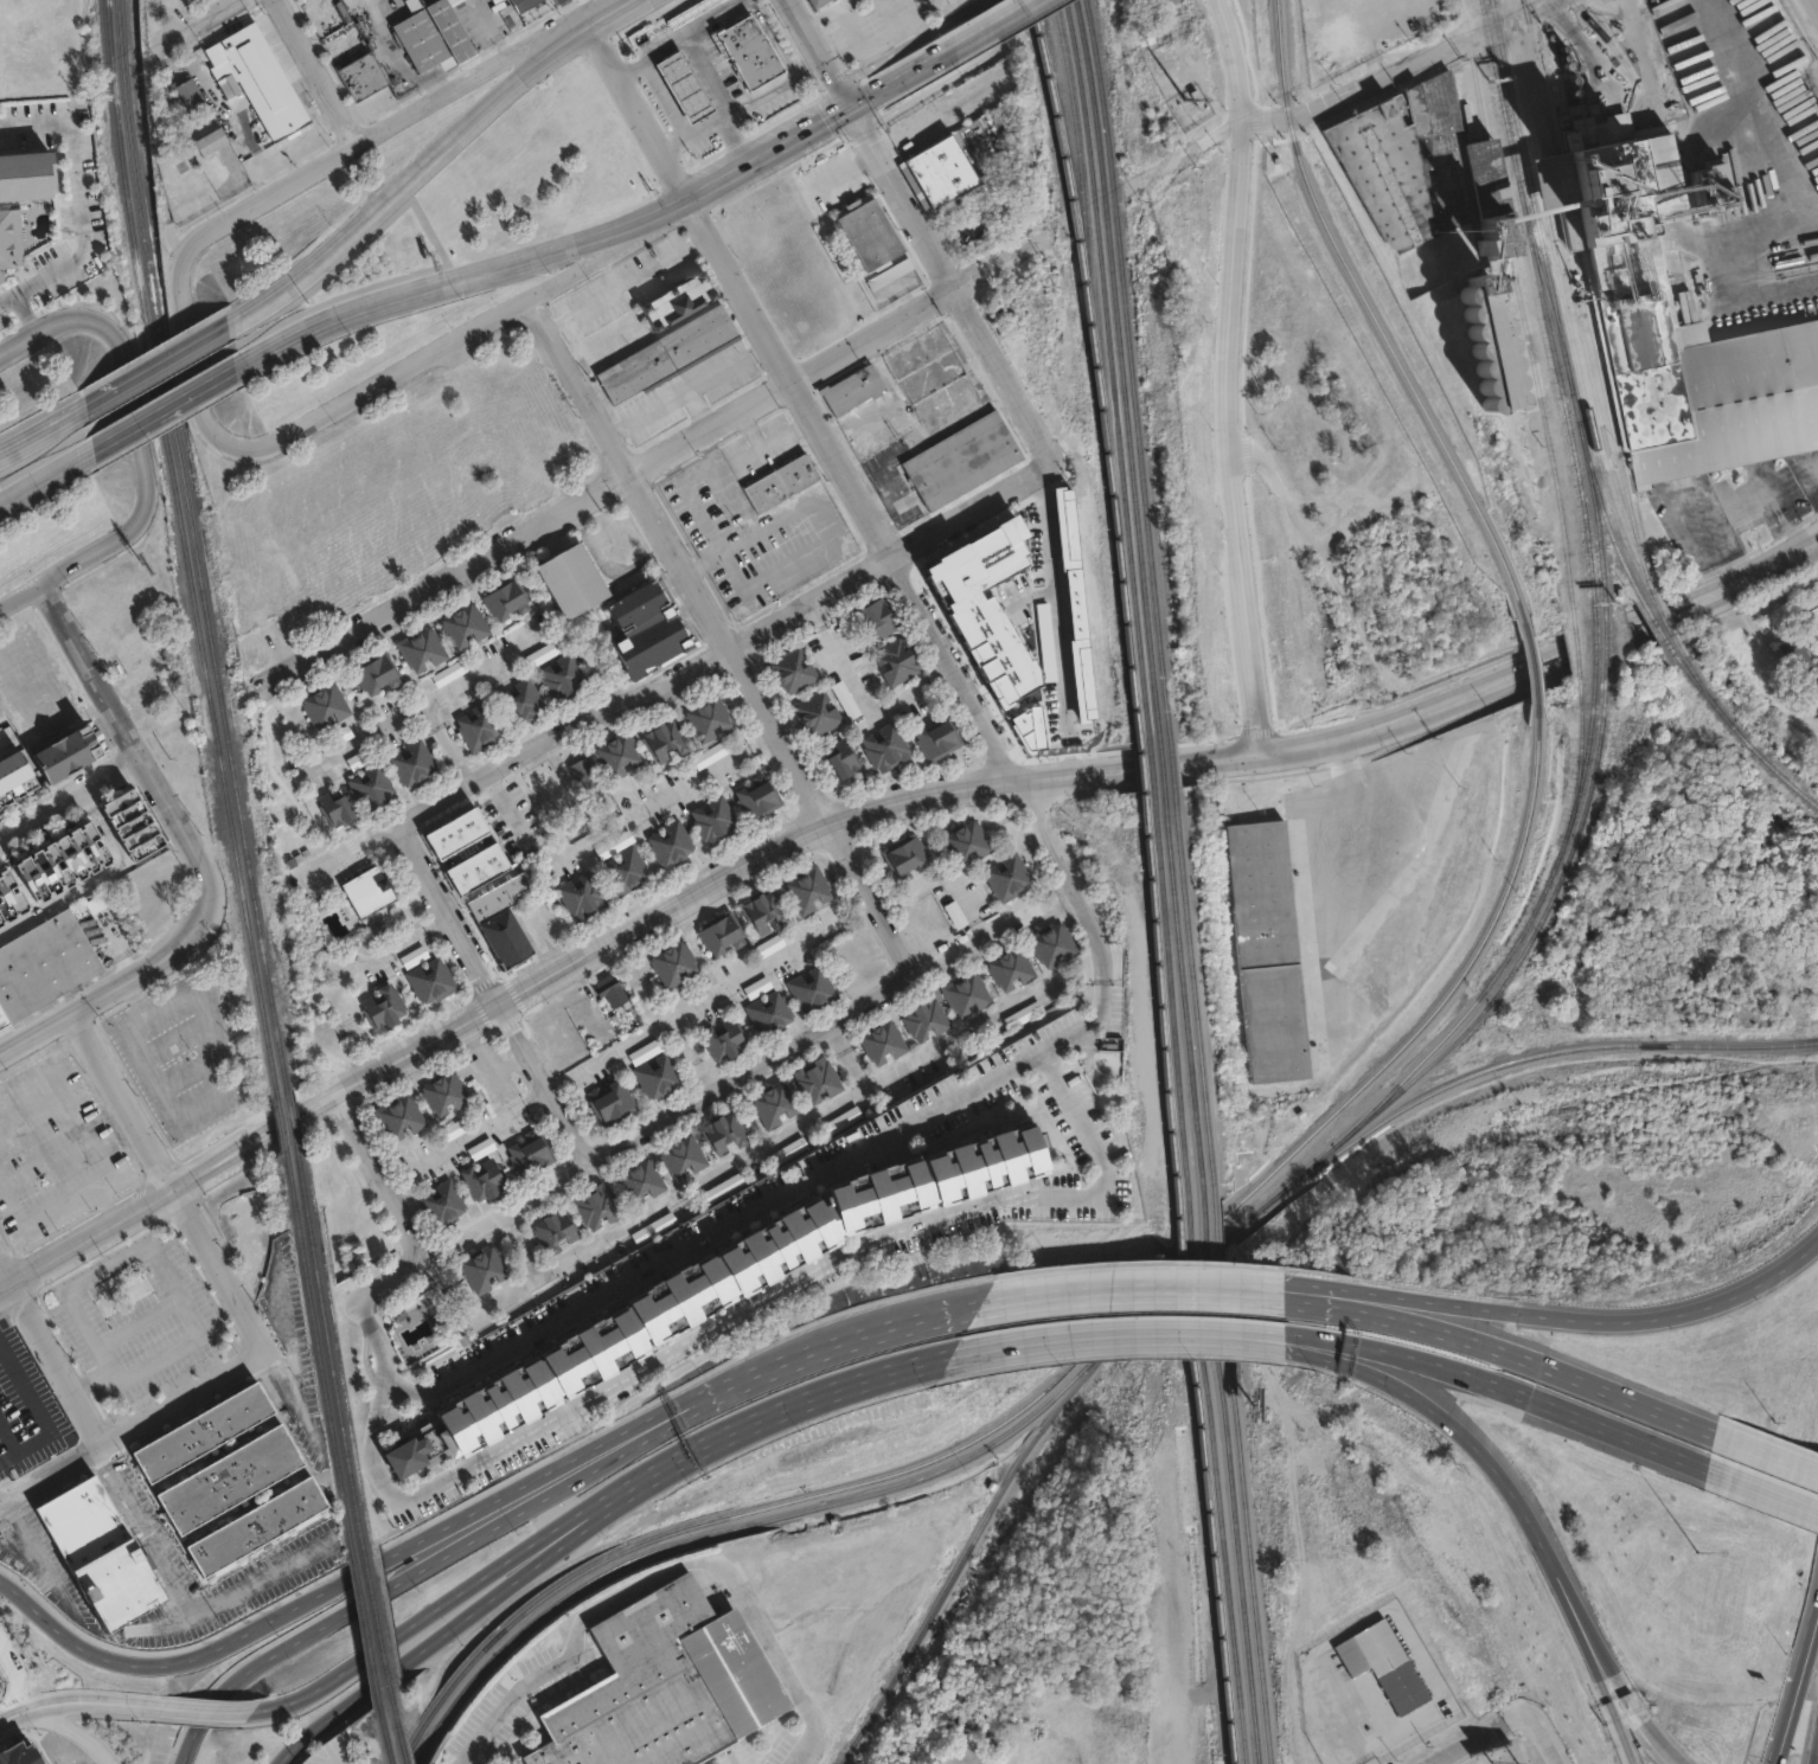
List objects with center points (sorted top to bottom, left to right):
building: (818, 2)
building: (531, 5)
road: (1813, 6)
road: (613, 12)
building: (691, 12)
road: (207, 21)
building: (439, 34)
road: (678, 34)
railway: (1602, 40)
road: (973, 44)
power tower: (1811, 45)
building: (747, 49)
road: (826, 57)
road: (802, 64)
road: (1395, 66)
road: (324, 73)
building: (367, 73)
building: (264, 78)
building: (228, 86)
building: (684, 88)
gas station: (684, 88)
building: (186, 94)
road: (760, 97)
road: (878, 101)
road: (726, 104)
road: (640, 110)
traffic signals: (859, 115)
road: (389, 134)
road: (691, 135)
road: (1766, 139)
building: (209, 142)
railway: (120, 149)
road: (776, 160)
railway: (1065, 163)
building: (937, 171)
building: (24, 172)
railway: (1528, 179)
road: (414, 180)
road: (82, 203)
building: (1433, 207)
building: (865, 231)
building: (11, 237)
building: (1628, 267)
road: (646, 269)
road: (1722, 276)
road: (469, 278)
railway: (1580, 280)
building: (895, 282)
road: (956, 283)
railway: (1545, 287)
railway: (1573, 297)
building: (676, 299)
railway: (1563, 299)
railway: (1542, 301)
railway: (1369, 314)
road: (23, 315)
road: (480, 331)
building: (667, 352)
road: (201, 366)
railway: (1132, 368)
railway: (1110, 370)
railway: (1122, 370)
railway: (1096, 371)
road: (161, 372)
road: (1225, 376)
railway: (156, 381)
road: (691, 389)
building: (851, 390)
railway: (1574, 399)
road: (698, 410)
road: (179, 412)
road: (136, 422)
road: (45, 435)
railway: (1547, 442)
road: (768, 443)
building: (474, 447)
road: (655, 458)
building: (962, 458)
road: (49, 480)
building: (782, 481)
road: (853, 487)
road: (1778, 513)
railway: (1595, 521)
railway: (1605, 521)
road: (1813, 541)
railway: (193, 546)
road: (1813, 551)
road: (1769, 563)
road: (608, 570)
building: (575, 579)
road: (21, 598)
building: (504, 602)
road: (1048, 602)
railway: (1656, 603)
building: (981, 607)
railway: (1660, 616)
building: (877, 617)
building: (1810, 617)
railway: (1653, 621)
building: (461, 627)
building: (649, 628)
railway: (1603, 634)
railway: (1593, 635)
road: (729, 636)
railway: (1574, 640)
building: (418, 648)
road: (1573, 652)
building: (539, 654)
building: (898, 659)
railway: (1530, 661)
road: (1767, 661)
building: (134, 666)
building: (793, 668)
road: (92, 671)
building: (448, 672)
road: (691, 673)
building: (1800, 673)
road: (41, 674)
building: (373, 675)
railway: (1695, 675)
building: (561, 685)
building: (844, 699)
building: (518, 700)
road: (430, 701)
building: (322, 705)
building: (815, 711)
building: (1813, 713)
building: (706, 716)
road: (39, 726)
building: (475, 726)
railway: (1736, 730)
building: (935, 733)
road: (365, 739)
building: (665, 740)
railway: (1580, 744)
road: (6, 745)
building: (884, 745)
building: (65, 750)
building: (617, 752)
building: (710, 755)
building: (845, 756)
building: (411, 763)
railway: (1170, 763)
railway: (1160, 764)
railway: (1150, 765)
railway: (1139, 766)
building: (583, 772)
building: (15, 780)
railway: (223, 780)
building: (369, 787)
building: (757, 793)
road: (71, 796)
building: (335, 810)
road: (841, 815)
building: (712, 819)
building: (129, 820)
road: (180, 828)
building: (457, 832)
building: (672, 841)
building: (965, 842)
building: (905, 857)
building: (59, 859)
building: (626, 870)
building: (1009, 874)
building: (1445, 875)
building: (807, 889)
building: (365, 891)
building: (584, 892)
building: (8, 896)
building: (100, 903)
building: (763, 910)
building: (954, 913)
road: (1088, 921)
railway: (1525, 924)
building: (502, 928)
building: (719, 931)
building: (768, 945)
building: (1054, 947)
building: (1267, 961)
building: (674, 962)
building: (44, 964)
building: (1011, 969)
railway: (1506, 976)
building: (430, 979)
building: (757, 986)
building: (813, 988)
road: (111, 989)
building: (608, 990)
road: (715, 992)
building: (966, 994)
railway: (1192, 996)
road: (492, 1000)
railway: (1183, 1001)
building: (380, 1006)
railway: (1171, 1008)
railway: (1161, 1011)
building: (772, 1012)
building: (1024, 1014)
building: (923, 1021)
building: (725, 1039)
road: (628, 1043)
building: (883, 1043)
road: (846, 1059)
railway: (1521, 1059)
building: (660, 1075)
road: (744, 1076)
building: (815, 1080)
road: (872, 1085)
railway: (1361, 1085)
building: (441, 1093)
building: (614, 1101)
building: (774, 1103)
building: (397, 1117)
railway: (292, 1118)
building: (843, 1118)
railway: (280, 1123)
road: (1081, 1123)
building: (453, 1129)
road: (481, 1129)
building: (723, 1131)
building: (480, 1148)
building: (788, 1150)
building: (527, 1153)
building: (683, 1156)
building: (486, 1178)
building: (640, 1181)
road: (167, 1182)
building: (723, 1187)
road: (165, 1191)
road: (60, 1200)
building: (441, 1205)
building: (596, 1207)
building: (654, 1227)
building: (553, 1229)
road: (711, 1231)
railway: (1216, 1231)
road: (411, 1240)
railway: (1206, 1240)
road: (139, 1250)
road: (430, 1253)
railway: (1192, 1253)
railway: (1182, 1259)
railway: (1193, 1265)
building: (485, 1269)
building: (710, 1285)
road: (1139, 1285)
road: (1298, 1292)
road: (1359, 1308)
road: (1569, 1315)
road: (1126, 1339)
road: (827, 1347)
road: (1319, 1347)
railway: (326, 1349)
road: (681, 1351)
road: (51, 1353)
railway: (318, 1354)
road: (1568, 1375)
road: (1534, 1404)
parking lot: (23, 1409)
road: (132, 1426)
road: (748, 1428)
building: (199, 1430)
road: (1743, 1436)
road: (622, 1439)
road: (620, 1448)
road: (1790, 1451)
railway: (975, 1452)
road: (1790, 1455)
railway: (928, 1461)
building: (226, 1477)
road: (1768, 1480)
road: (1513, 1481)
railway: (1243, 1509)
railway: (1231, 1514)
railway: (1218, 1521)
building: (254, 1524)
railway: (1208, 1526)
railway: (971, 1539)
building: (98, 1551)
railway: (561, 1583)
road: (188, 1584)
railway: (572, 1591)
road: (356, 1606)
road: (286, 1614)
railway: (375, 1627)
railway: (363, 1631)
road: (411, 1631)
road: (414, 1650)
building: (1385, 1666)
road: (17, 1669)
road: (1793, 1683)
road: (1, 1685)
building: (659, 1686)
parking lot: (526, 1696)
road: (88, 1702)
road: (207, 1708)
road: (1337, 1713)
road: (13, 1714)
road: (1618, 1718)
road: (1645, 1719)
railway: (392, 1720)
road: (479, 1723)
road: (75, 1726)
railway: (382, 1733)
road: (1543, 1733)
road: (1471, 1739)
parking lot: (343, 1746)
parking lot: (787, 1751)
railway: (401, 1752)
building: (18, 1755)
railway: (388, 1762)

